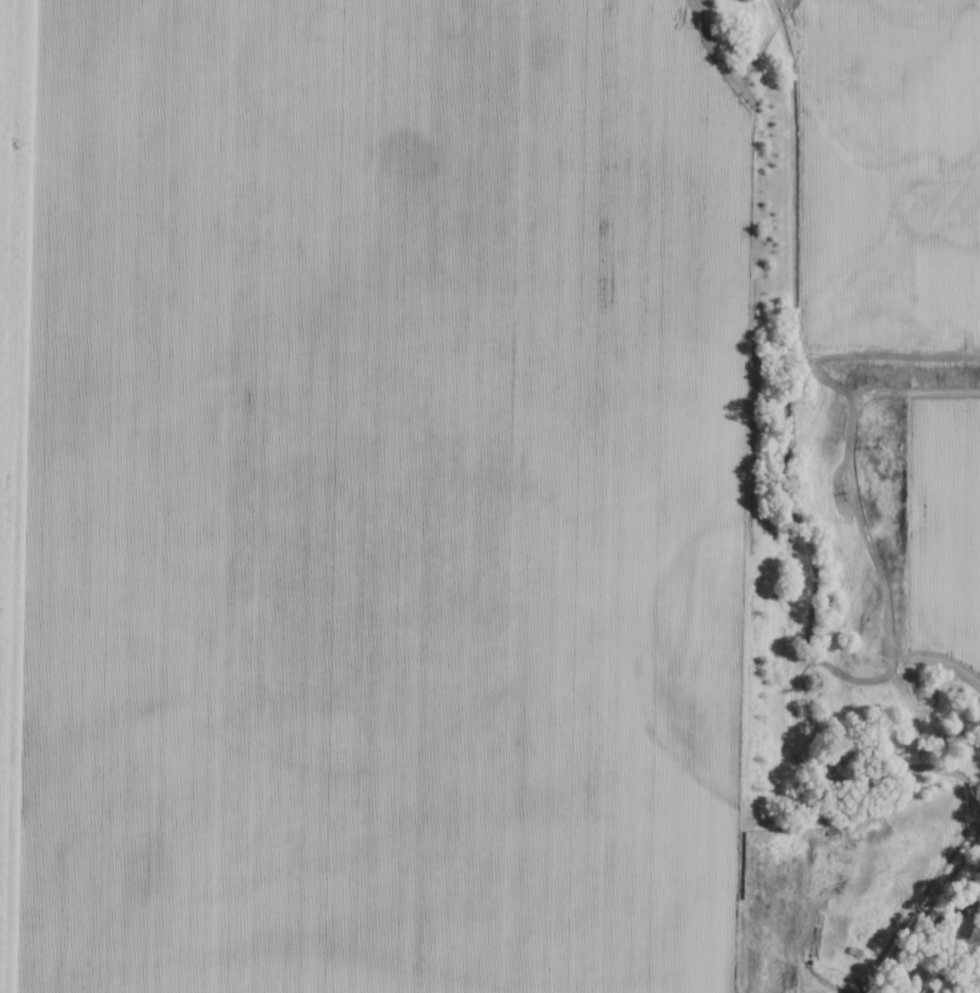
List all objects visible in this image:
crop: (890, 176)
crop: (370, 496)
crop: (944, 525)
building: (773, 848)
road: (798, 963)
road: (812, 992)

